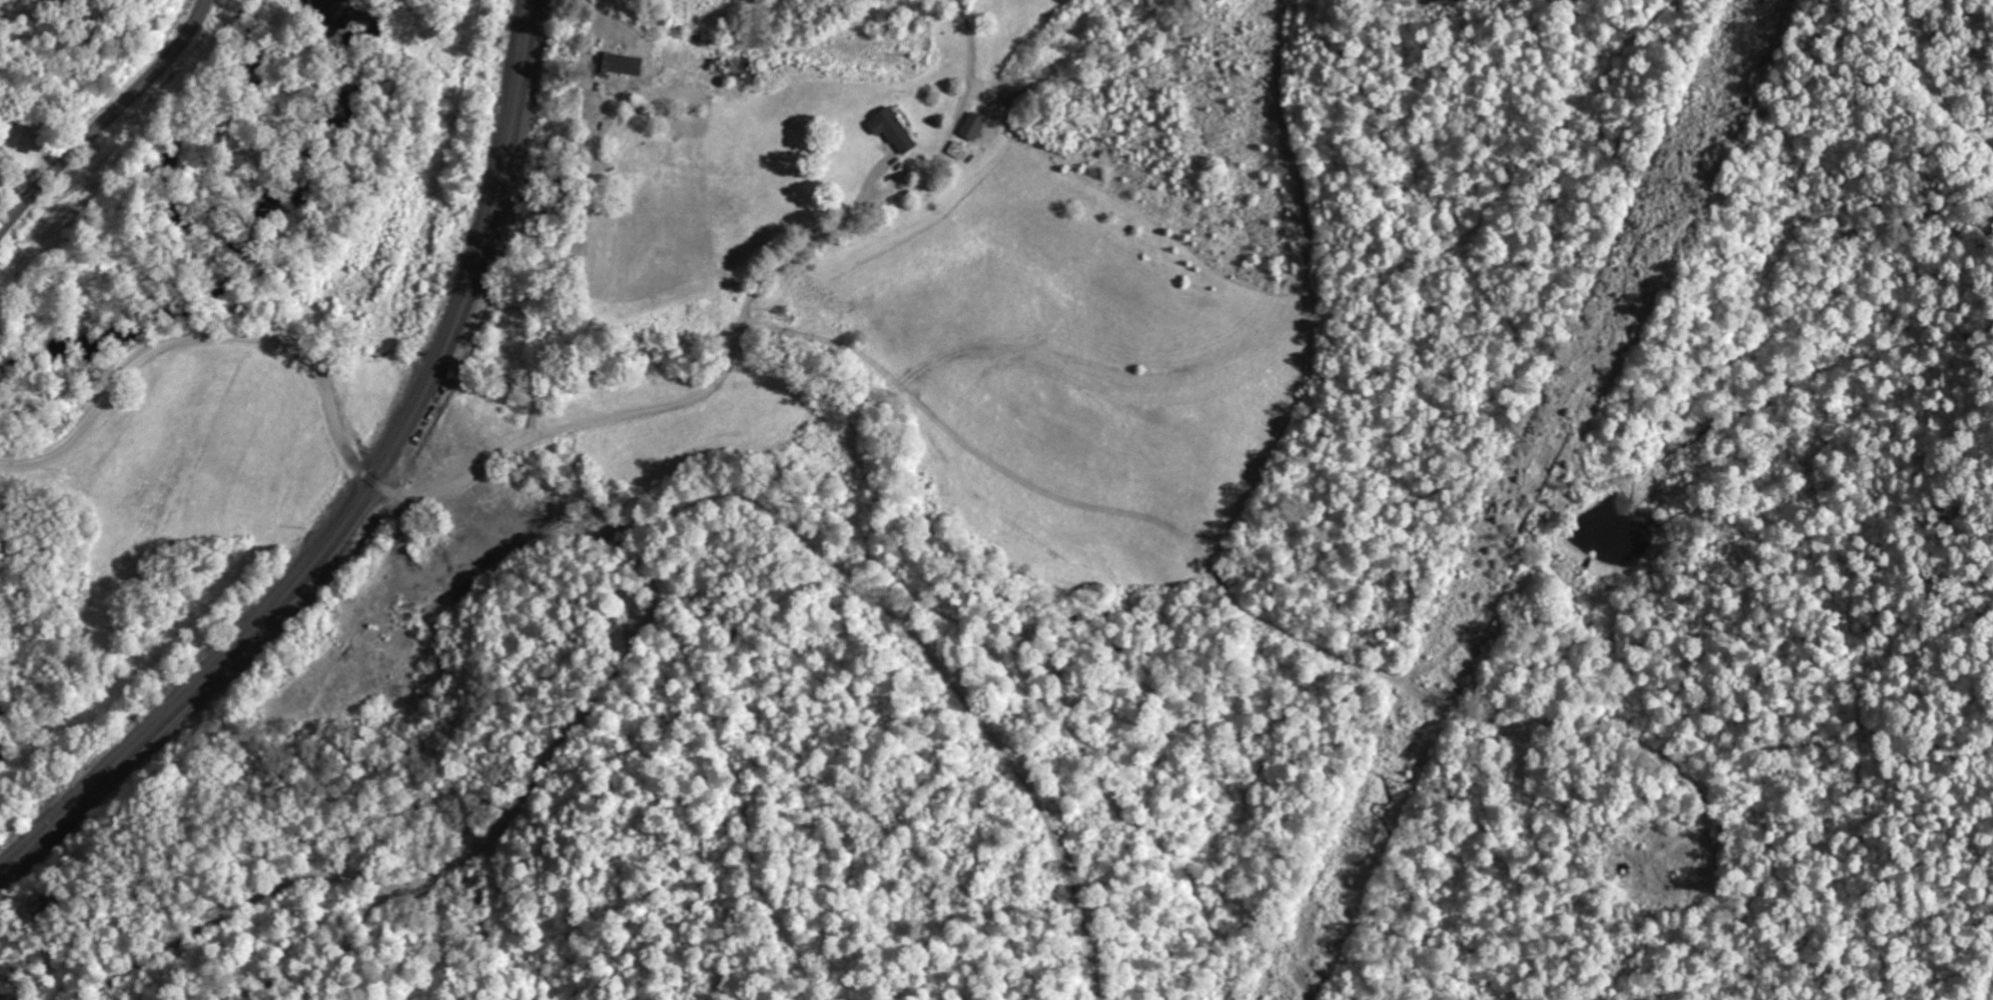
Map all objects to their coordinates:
building: (619, 65)
road: (106, 118)
building: (972, 127)
building: (892, 131)
building: (0, 171)
road: (355, 465)
railway: (364, 492)

